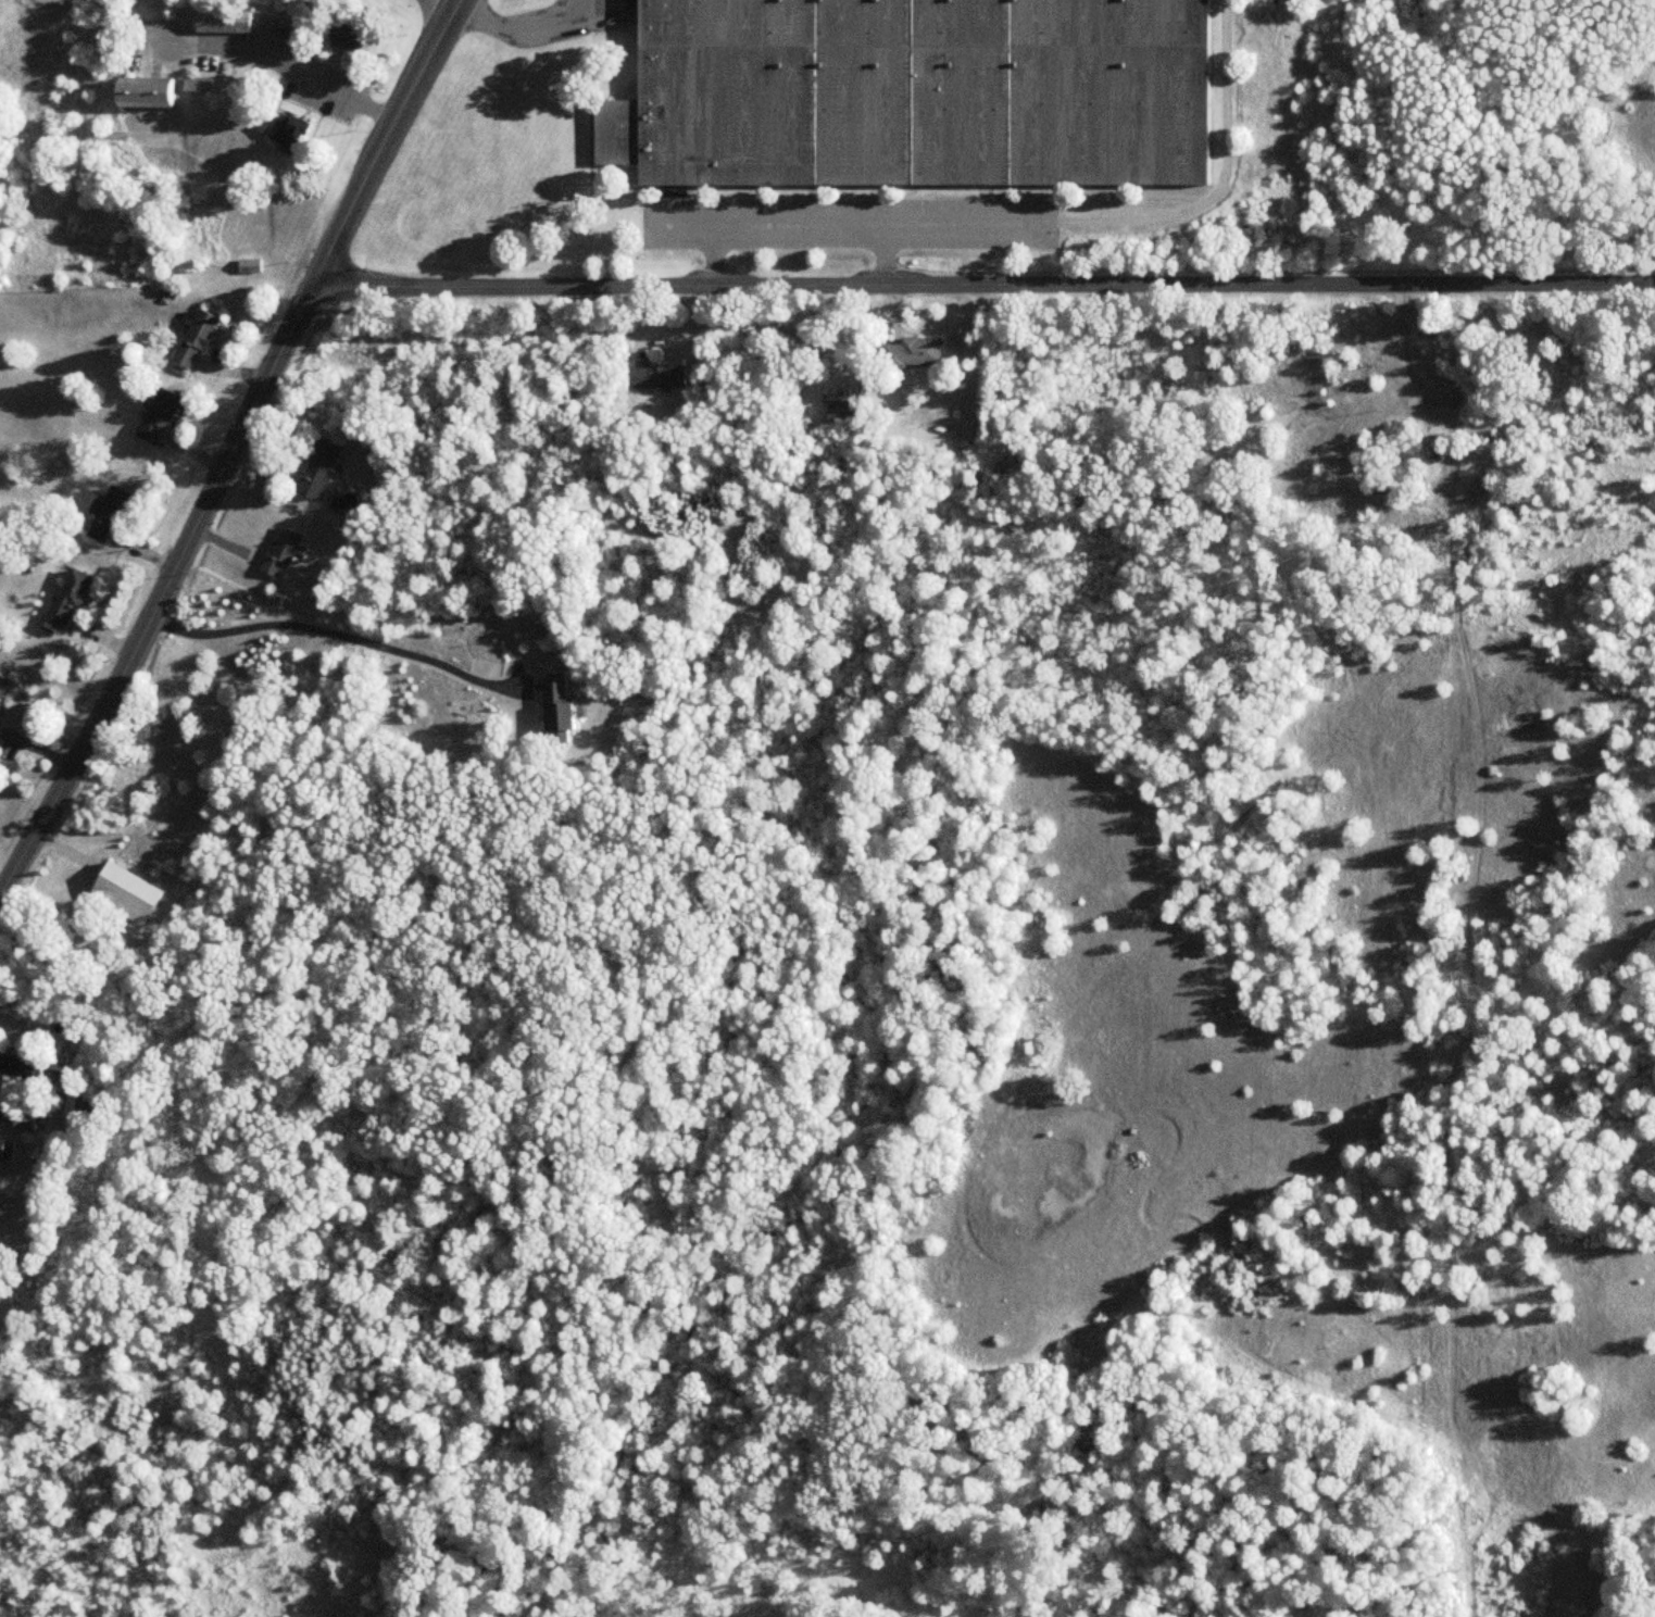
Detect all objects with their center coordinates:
road: (459, 0)
building: (227, 22)
road: (512, 22)
building: (350, 36)
road: (309, 72)
building: (200, 87)
building: (914, 95)
building: (152, 96)
building: (292, 135)
road: (849, 221)
road: (714, 253)
road: (885, 253)
building: (251, 267)
road: (981, 285)
building: (201, 337)
building: (917, 353)
building: (662, 378)
building: (848, 411)
building: (162, 416)
road: (233, 446)
building: (323, 469)
building: (112, 515)
building: (286, 552)
building: (72, 600)
road: (334, 628)
building: (3, 689)
building: (563, 706)
building: (130, 895)
building: (24, 1067)
building: (65, 1071)
building: (82, 1115)
building: (32, 1121)
building: (8, 1152)

